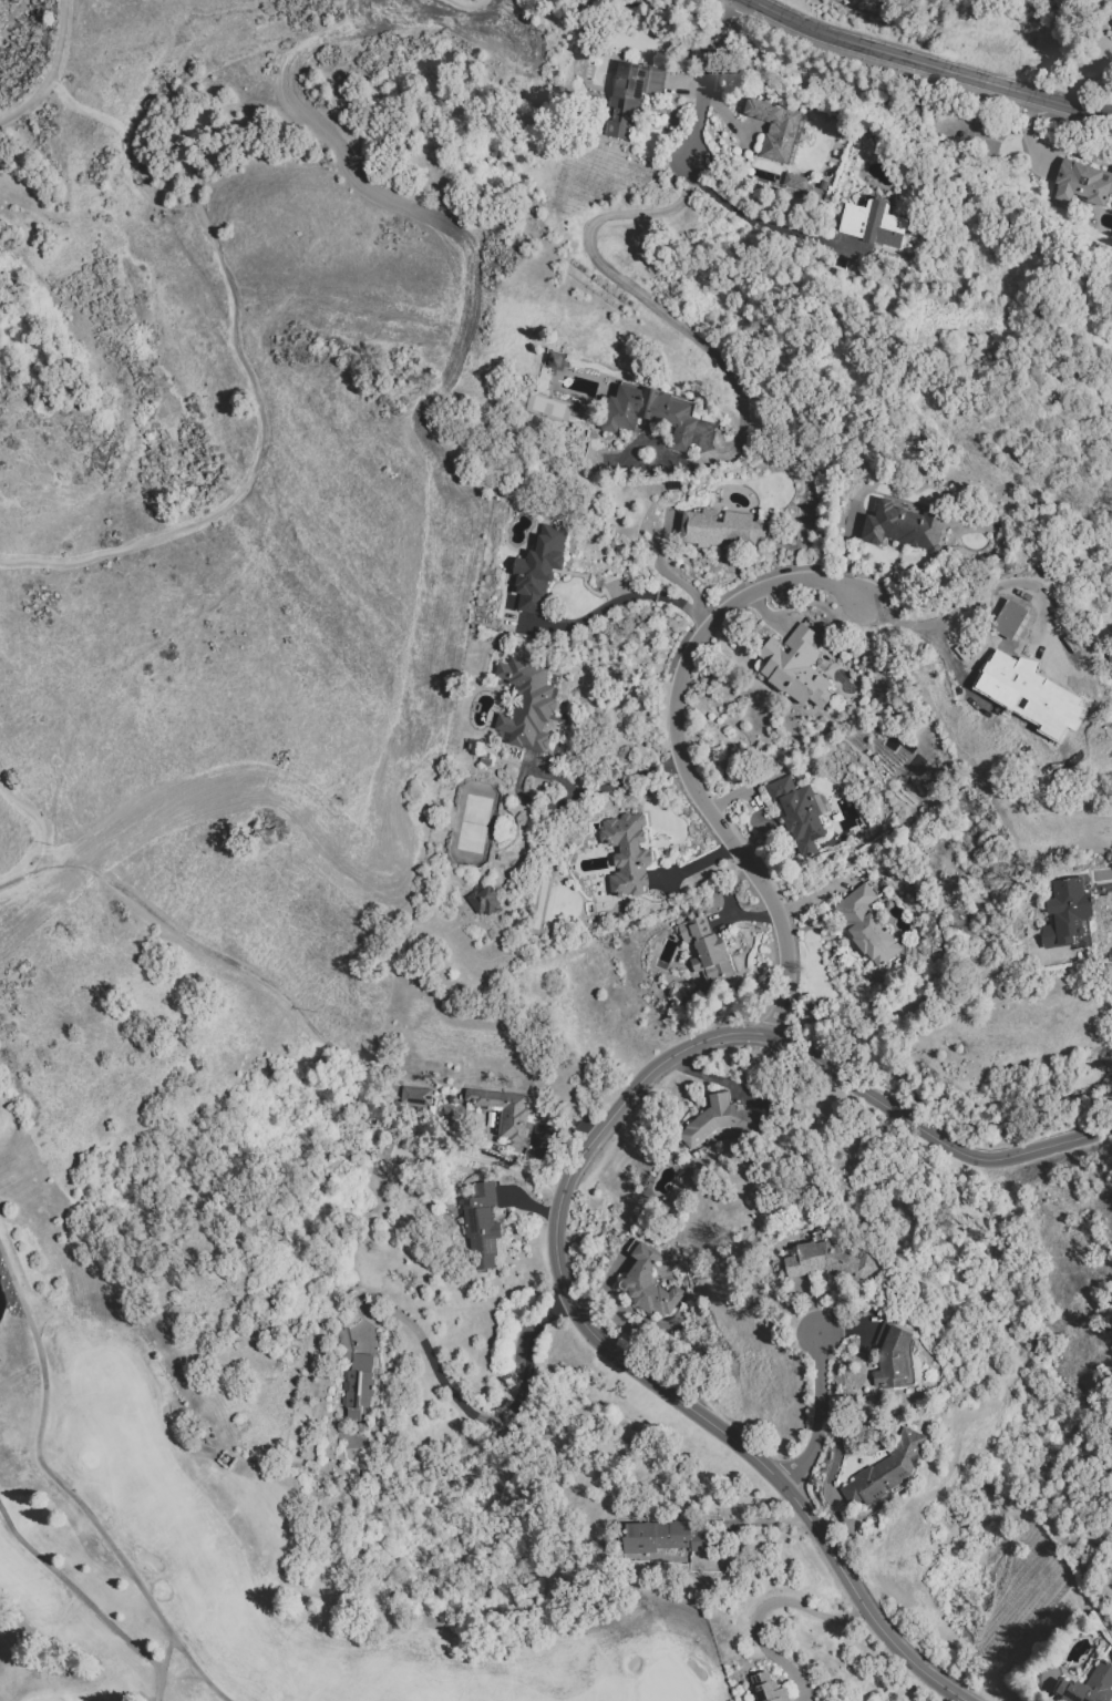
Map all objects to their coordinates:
road: (466, 6)
building: (1111, 22)
building: (1111, 29)
road: (929, 64)
road: (916, 70)
road: (53, 73)
road: (702, 91)
building: (631, 101)
building: (786, 133)
road: (1028, 139)
building: (793, 181)
building: (1082, 182)
road: (752, 221)
building: (875, 226)
road: (651, 305)
road: (233, 315)
building: (553, 358)
building: (652, 418)
building: (903, 525)
building: (723, 532)
building: (540, 571)
road: (636, 596)
road: (978, 597)
building: (1009, 617)
building: (797, 670)
building: (1032, 693)
building: (528, 707)
road: (680, 757)
building: (921, 768)
road: (557, 800)
building: (801, 816)
road: (39, 818)
park: (472, 822)
building: (627, 853)
building: (482, 900)
building: (1064, 909)
building: (866, 924)
road: (198, 941)
building: (711, 952)
road: (895, 1012)
road: (714, 1080)
road: (351, 1094)
building: (414, 1095)
building: (508, 1116)
building: (720, 1123)
road: (450, 1148)
road: (558, 1199)
building: (484, 1227)
building: (831, 1263)
building: (652, 1303)
building: (893, 1359)
building: (361, 1391)
road: (820, 1415)
road: (485, 1416)
road: (44, 1461)
building: (888, 1472)
road: (737, 1519)
park: (247, 1539)
building: (665, 1539)
road: (80, 1595)
road: (771, 1602)
road: (179, 1651)
building: (1089, 1687)
building: (769, 1689)

